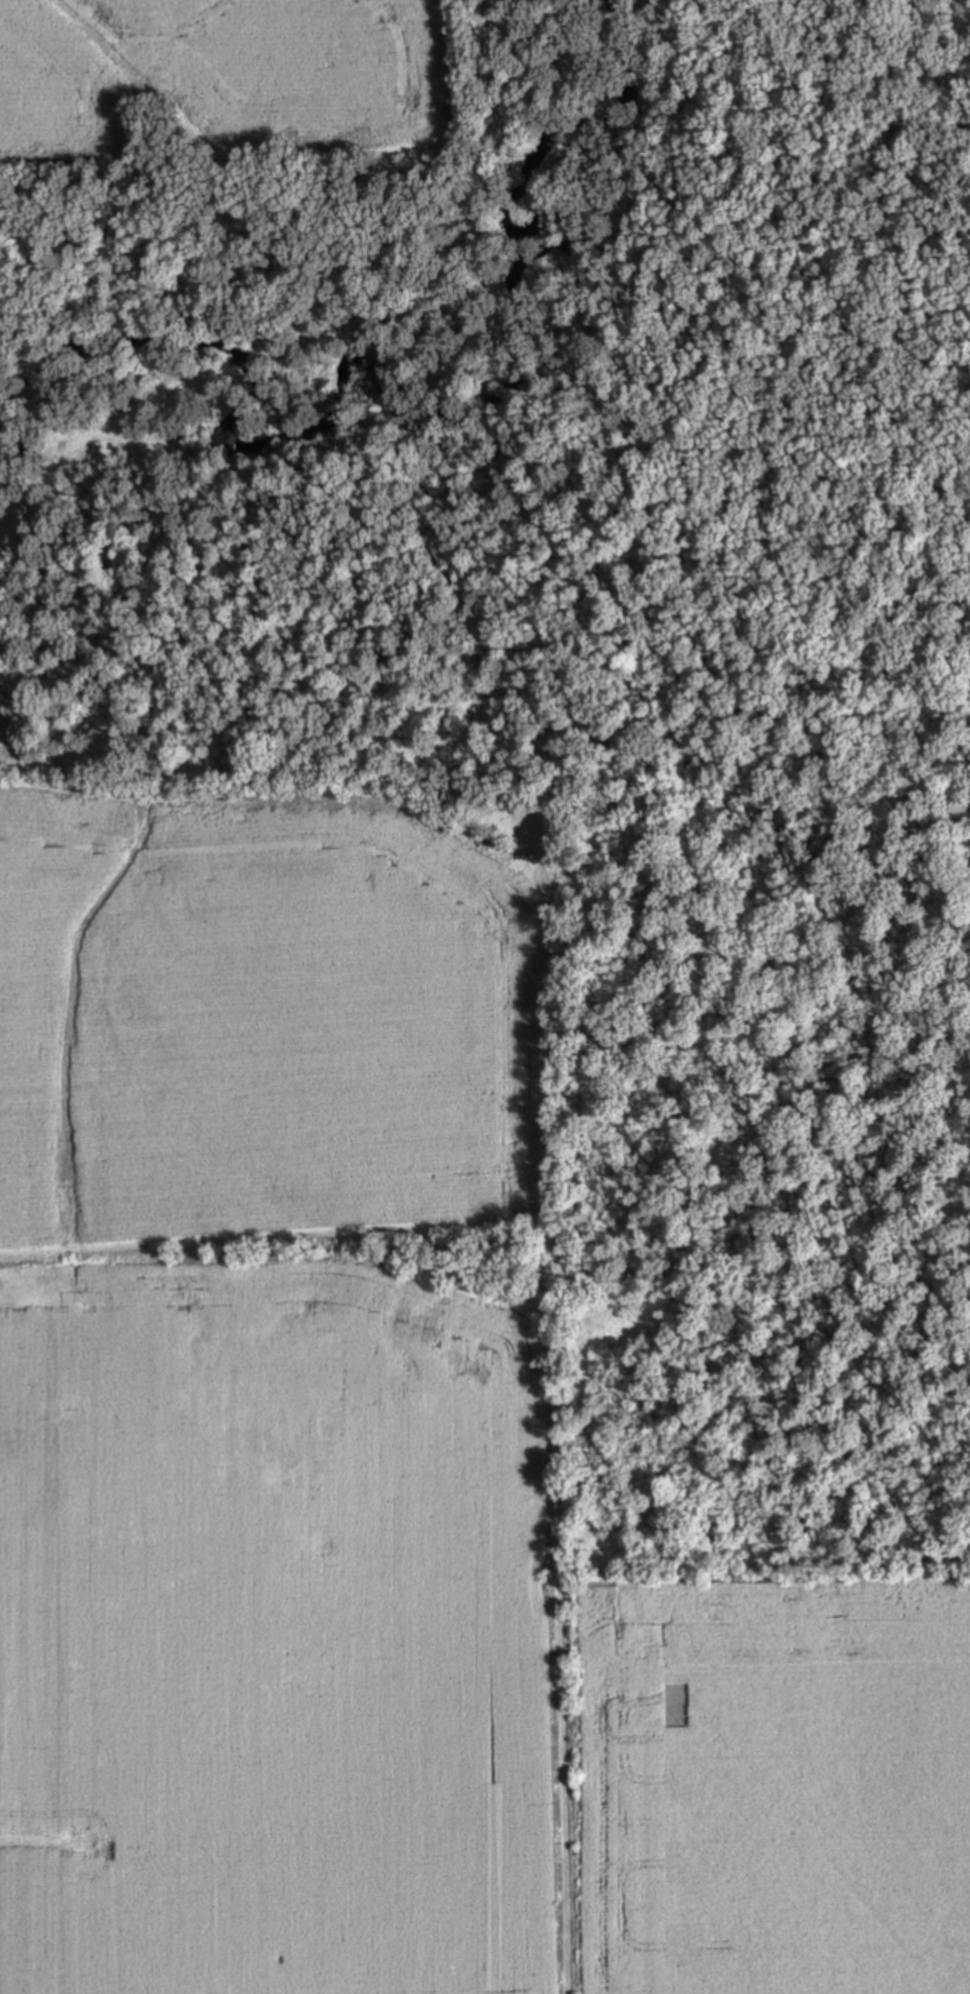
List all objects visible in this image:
road: (560, 1612)

